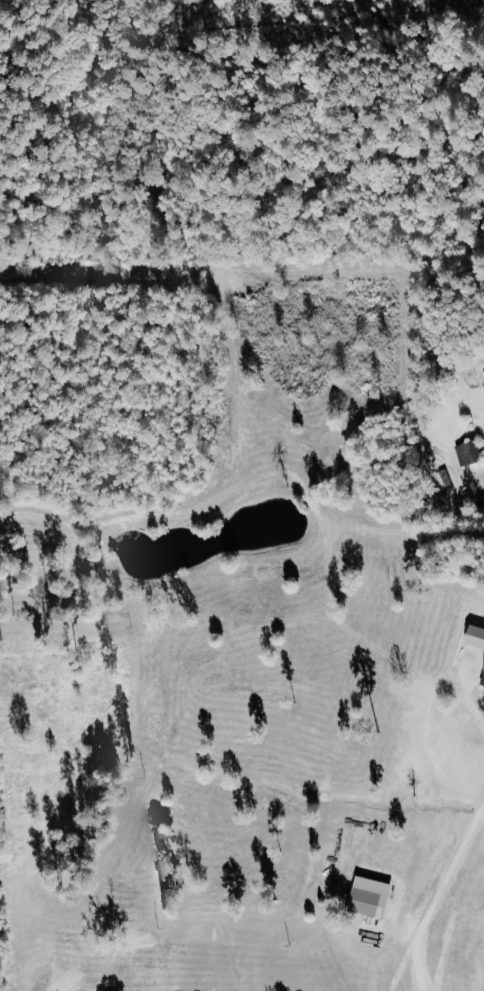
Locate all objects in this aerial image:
building: (471, 452)
building: (483, 686)
road: (468, 695)
building: (369, 897)
road: (439, 897)

